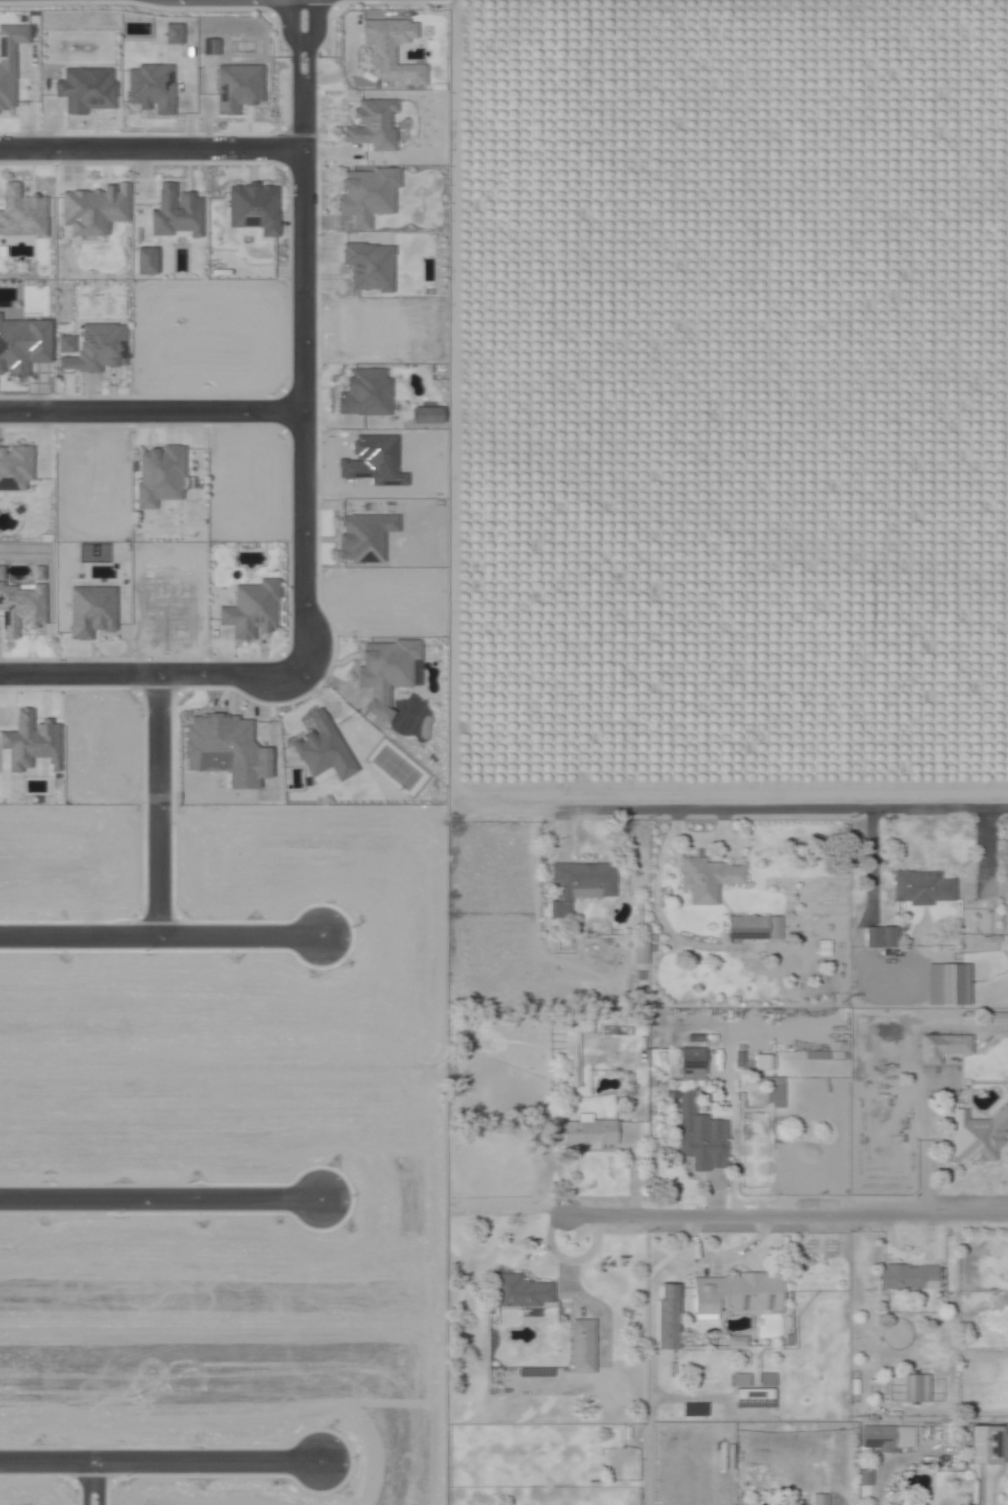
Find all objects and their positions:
building: (171, 34)
building: (208, 47)
building: (390, 49)
building: (9, 60)
building: (236, 87)
building: (150, 88)
building: (84, 89)
building: (371, 124)
road: (151, 155)
building: (365, 195)
building: (252, 207)
building: (93, 209)
building: (20, 213)
building: (174, 213)
building: (144, 261)
building: (368, 266)
road: (303, 340)
building: (22, 345)
building: (90, 348)
building: (364, 393)
building: (425, 415)
road: (151, 417)
building: (14, 467)
building: (158, 476)
building: (362, 537)
building: (19, 609)
building: (250, 609)
building: (89, 611)
building: (383, 671)
road: (151, 679)
building: (30, 742)
building: (321, 748)
building: (224, 750)
building: (289, 757)
road: (728, 801)
road: (157, 810)
building: (710, 879)
building: (581, 885)
building: (924, 887)
building: (748, 927)
building: (773, 927)
building: (879, 937)
building: (651, 938)
building: (992, 939)
road: (161, 941)
building: (825, 948)
building: (641, 955)
building: (641, 976)
building: (948, 981)
building: (993, 1018)
building: (614, 1031)
building: (886, 1045)
building: (955, 1045)
building: (575, 1050)
building: (693, 1058)
building: (774, 1089)
building: (590, 1134)
building: (978, 1136)
building: (703, 1142)
road: (447, 1153)
road: (160, 1200)
road: (727, 1216)
building: (908, 1276)
building: (521, 1292)
building: (740, 1295)
building: (665, 1316)
building: (789, 1340)
building: (583, 1343)
building: (737, 1343)
building: (534, 1372)
building: (741, 1380)
building: (769, 1380)
building: (878, 1383)
building: (859, 1388)
building: (917, 1389)
building: (755, 1400)
building: (887, 1438)
building: (983, 1445)
road: (162, 1466)
building: (862, 1477)
road: (85, 1486)
building: (821, 1500)
building: (896, 1504)

